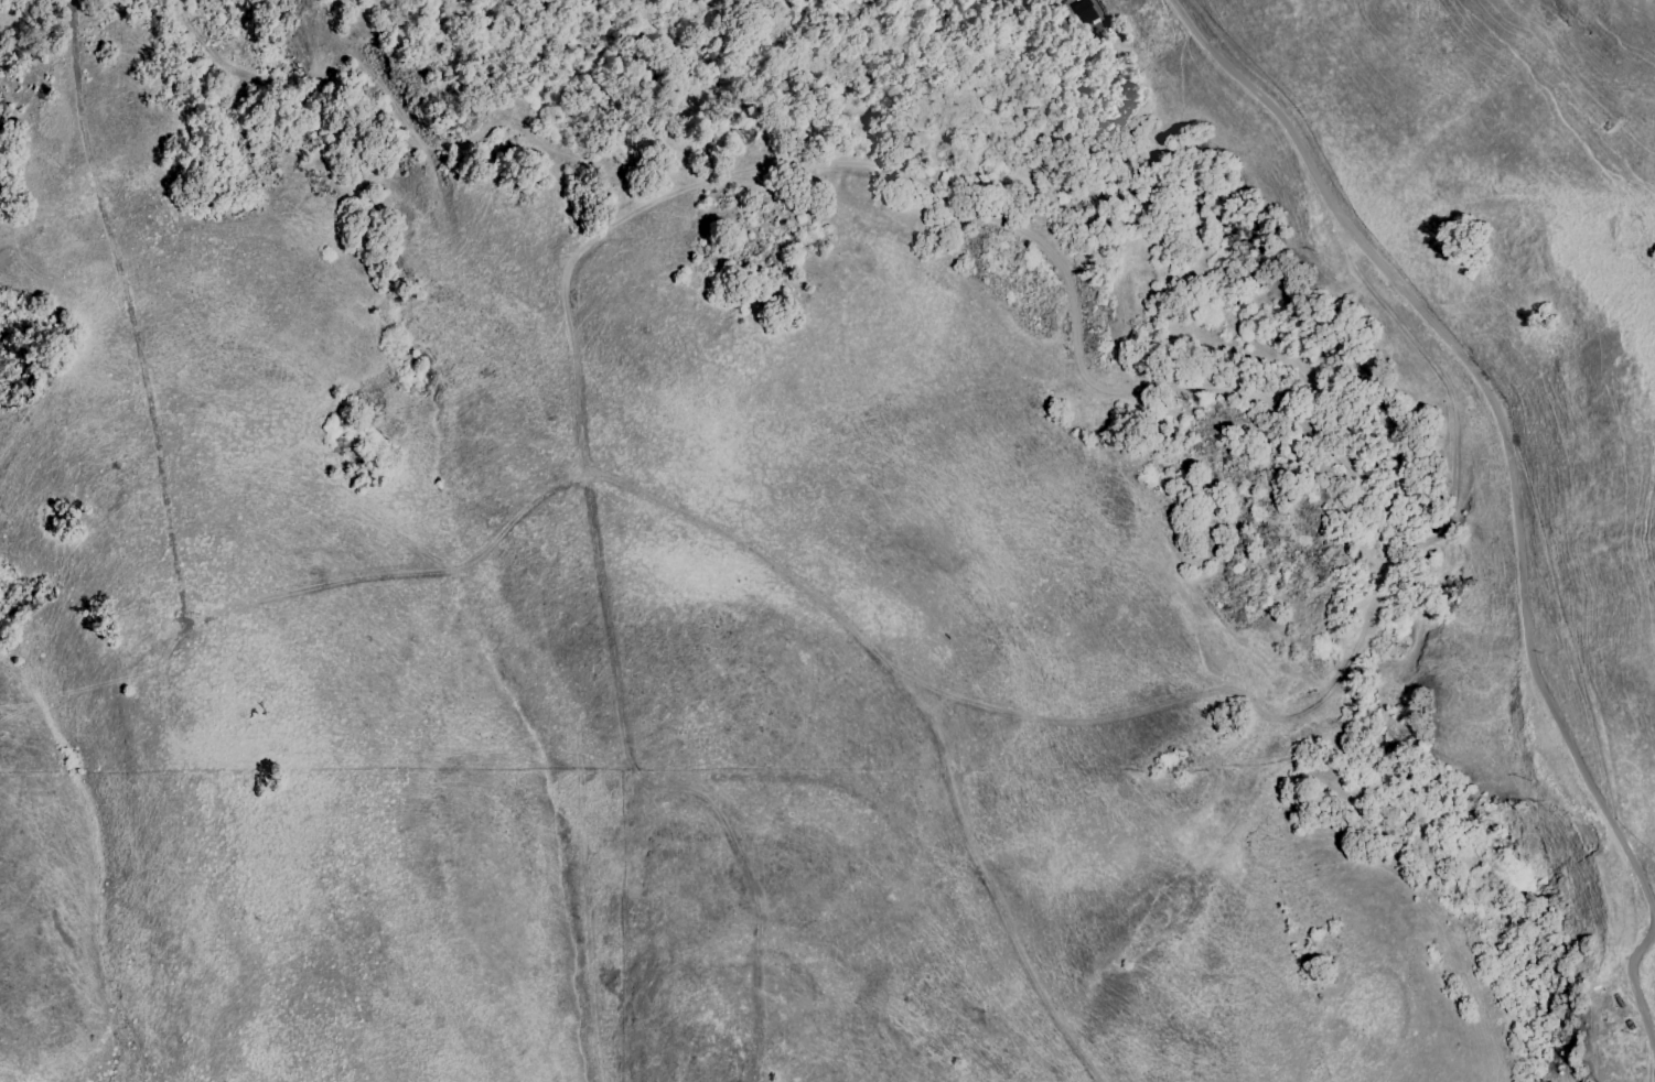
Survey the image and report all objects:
building: (1089, 17)
road: (1514, 489)

